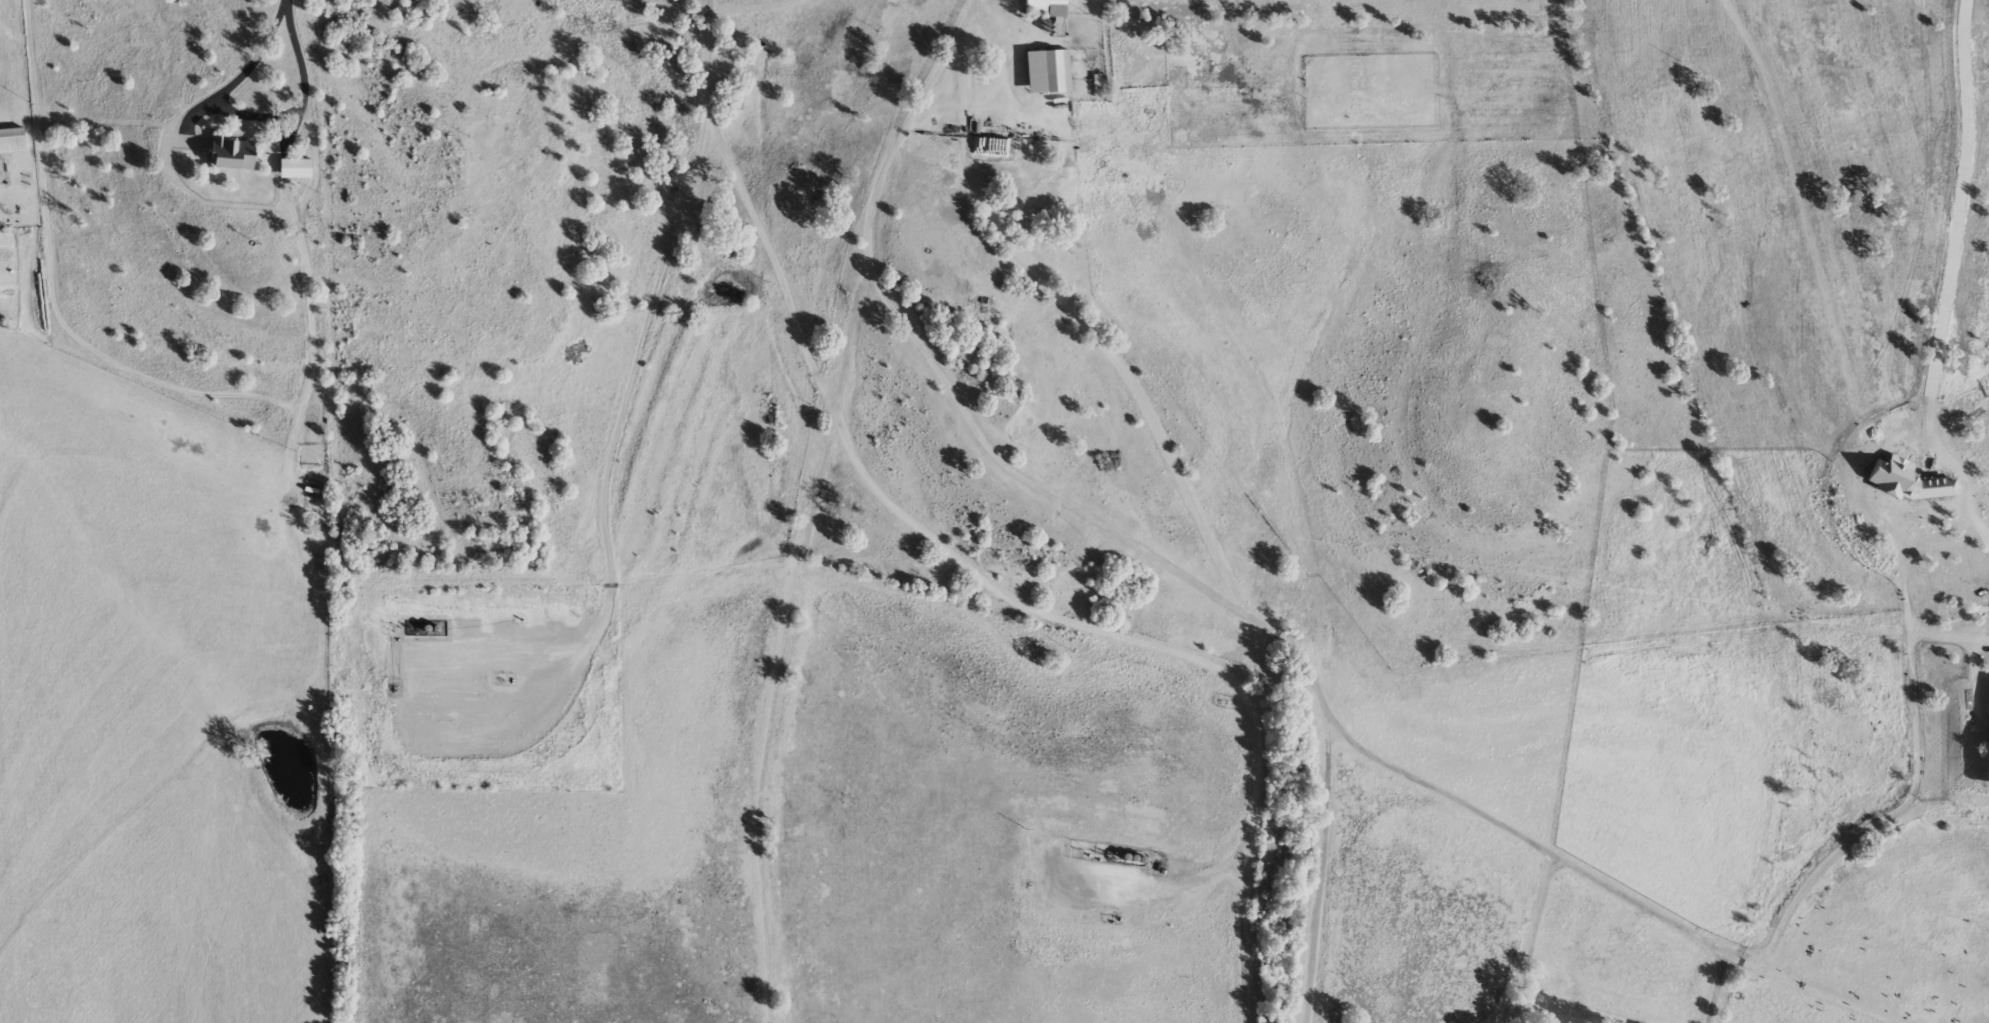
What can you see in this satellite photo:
building: (1044, 8)
building: (1045, 71)
road: (246, 116)
building: (11, 141)
building: (230, 153)
road: (1947, 277)
road: (1083, 319)
road: (159, 378)
road: (967, 417)
road: (609, 463)
road: (1888, 502)
road: (931, 539)
road: (780, 646)
road: (1319, 866)
road: (1600, 882)
road: (1533, 939)
road: (1714, 988)

